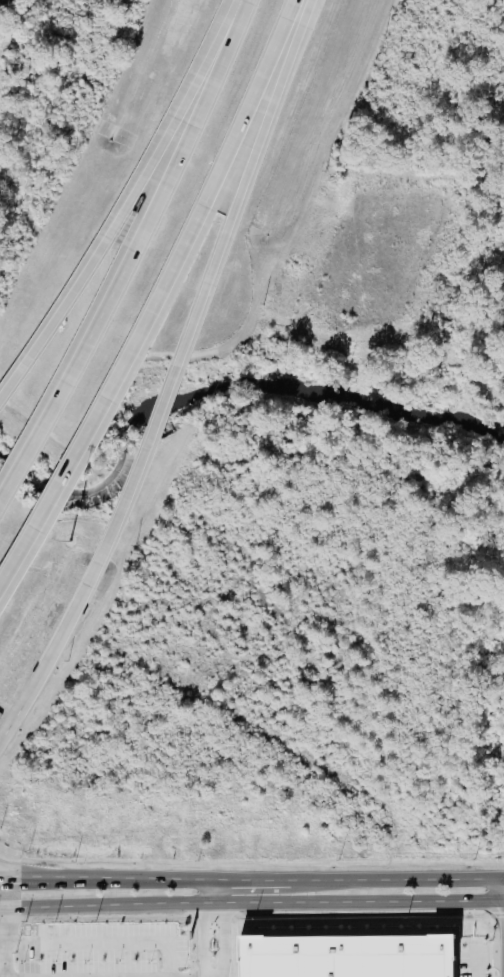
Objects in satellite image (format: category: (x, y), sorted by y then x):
river: (8, 58)
road: (127, 193)
road: (129, 253)
road: (202, 287)
road: (160, 298)
river: (227, 390)
road: (56, 652)
road: (6, 738)
road: (2, 875)
road: (26, 877)
road: (399, 879)
road: (129, 880)
road: (250, 881)
road: (208, 893)
road: (251, 903)
road: (199, 940)
road: (222, 940)
road: (98, 944)
building: (346, 956)
road: (475, 958)

